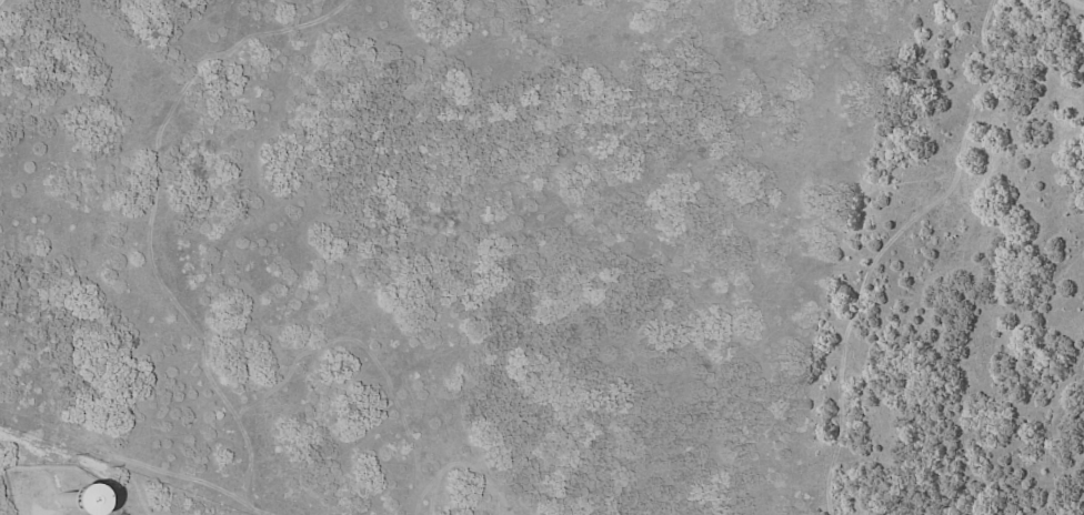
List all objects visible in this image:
building: (61, 499)

